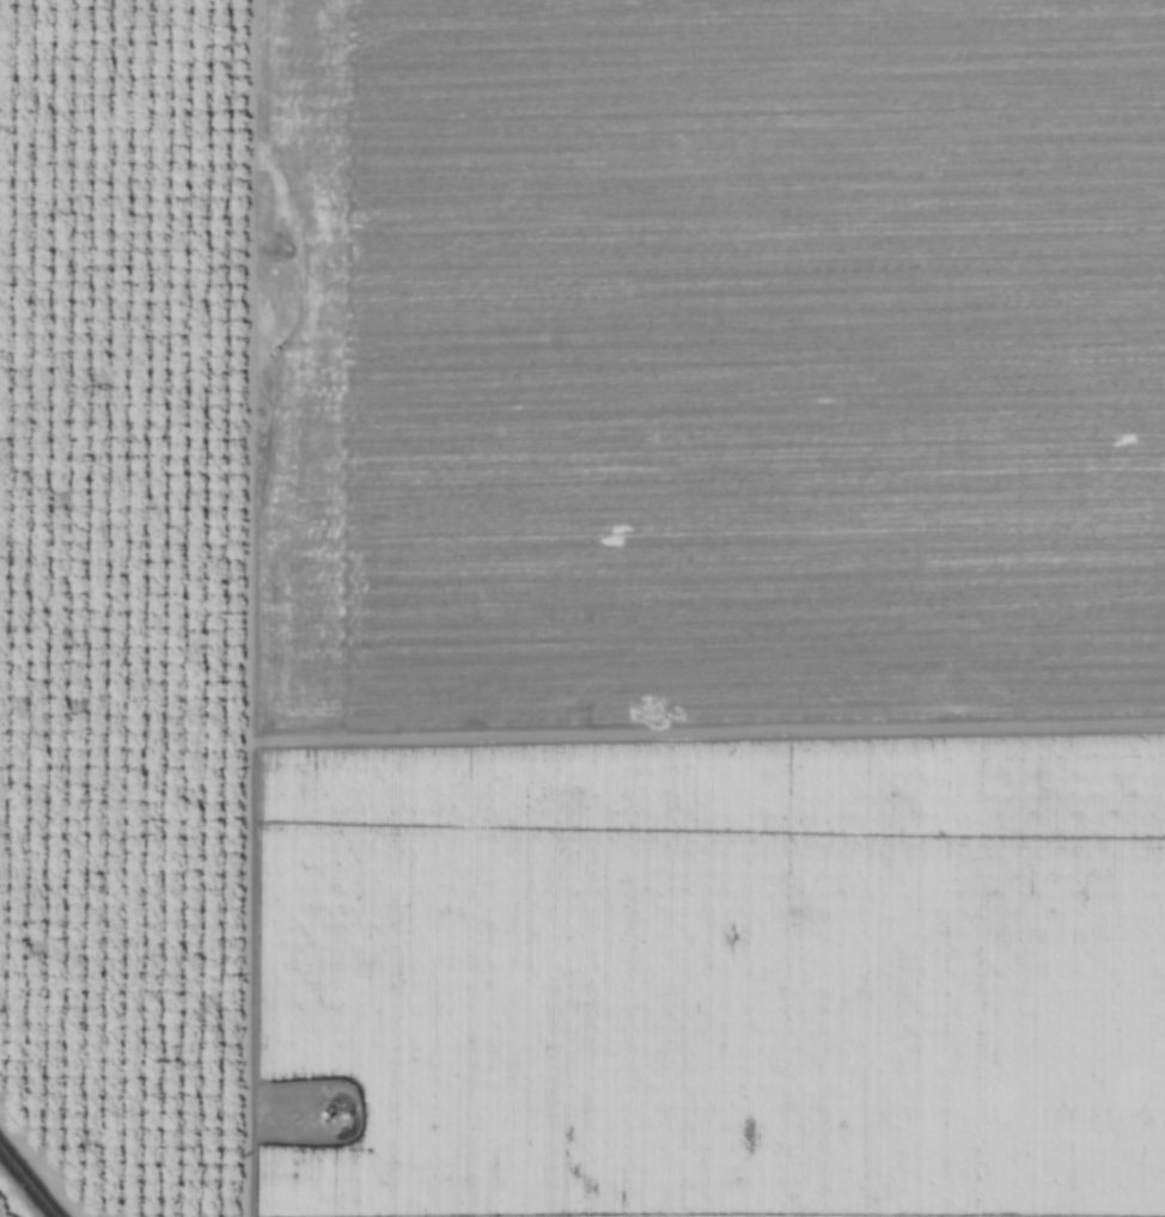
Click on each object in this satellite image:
railway: (28, 1182)

